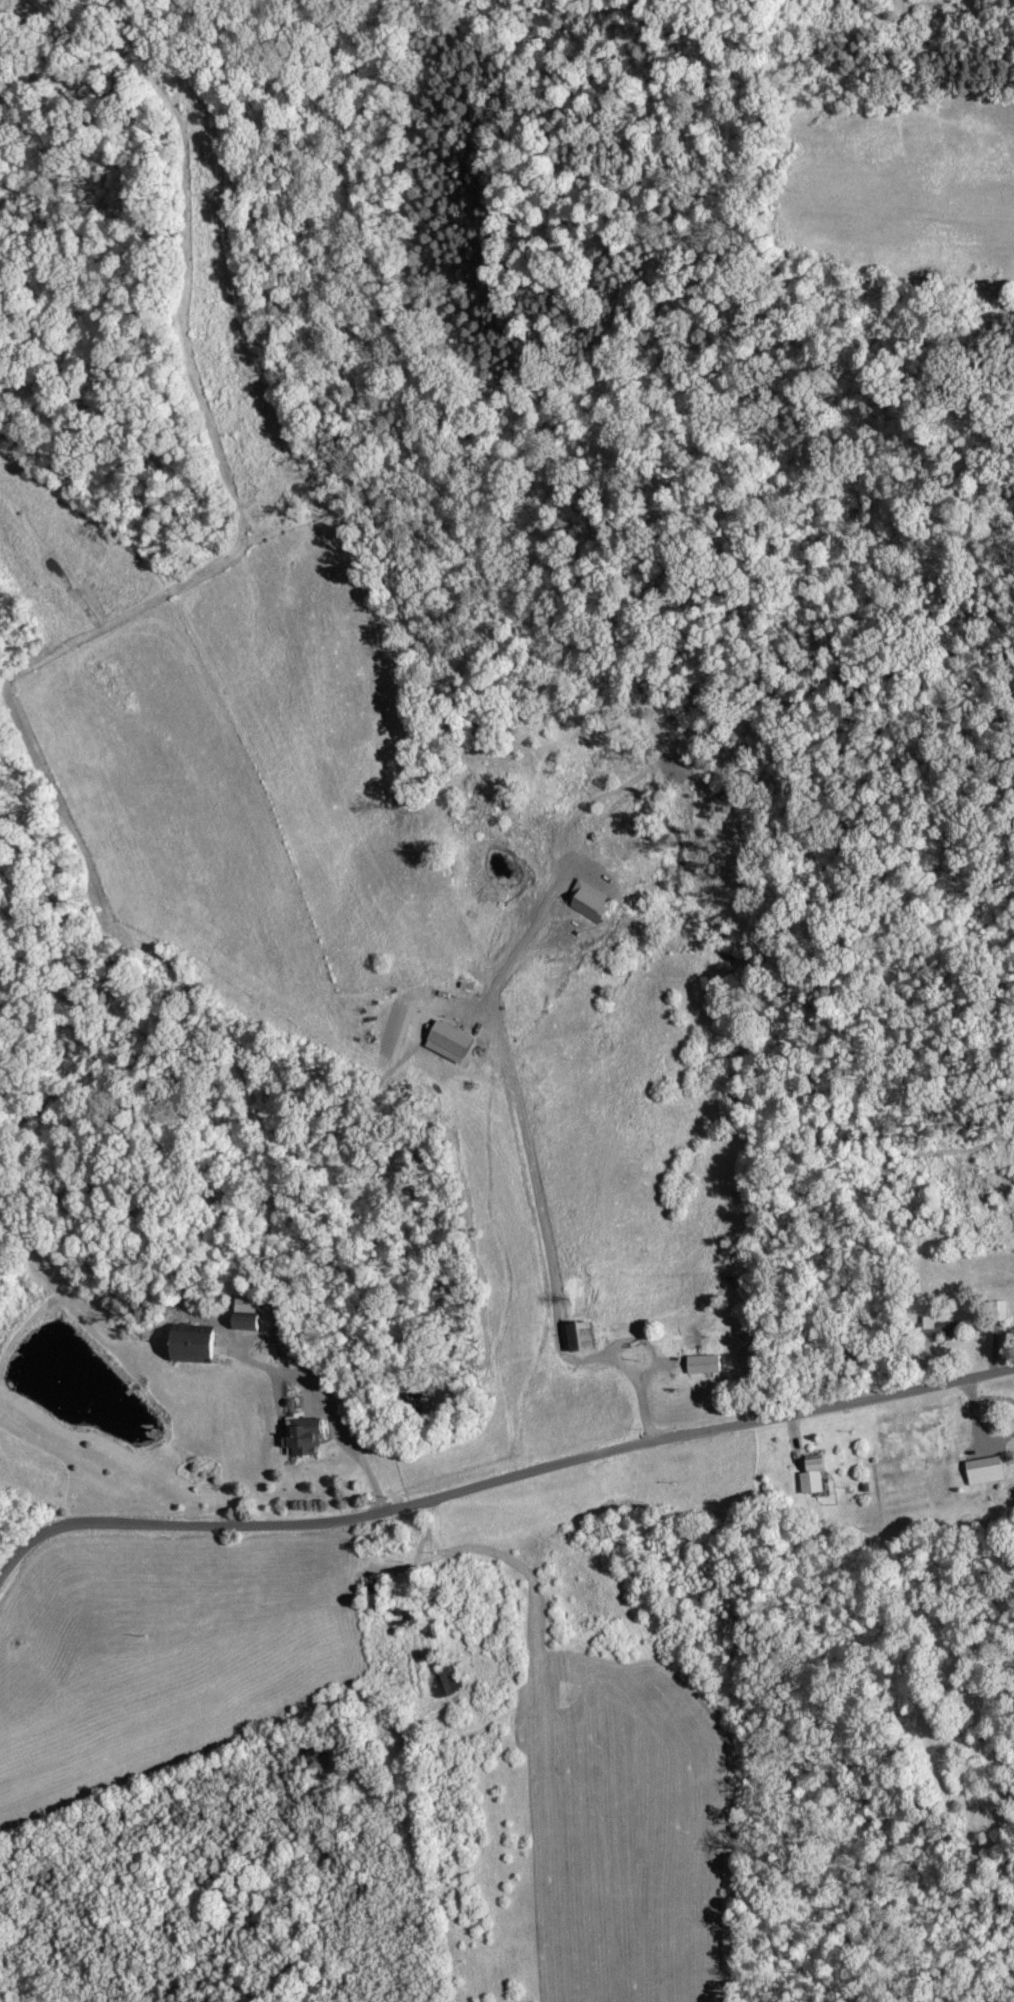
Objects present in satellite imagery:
building: (585, 902)
building: (443, 1042)
road: (521, 1151)
building: (244, 1316)
building: (932, 1327)
building: (574, 1337)
building: (186, 1345)
road: (616, 1360)
building: (698, 1365)
road: (337, 1426)
road: (648, 1426)
building: (298, 1437)
building: (980, 1471)
building: (807, 1476)
road: (499, 1484)

